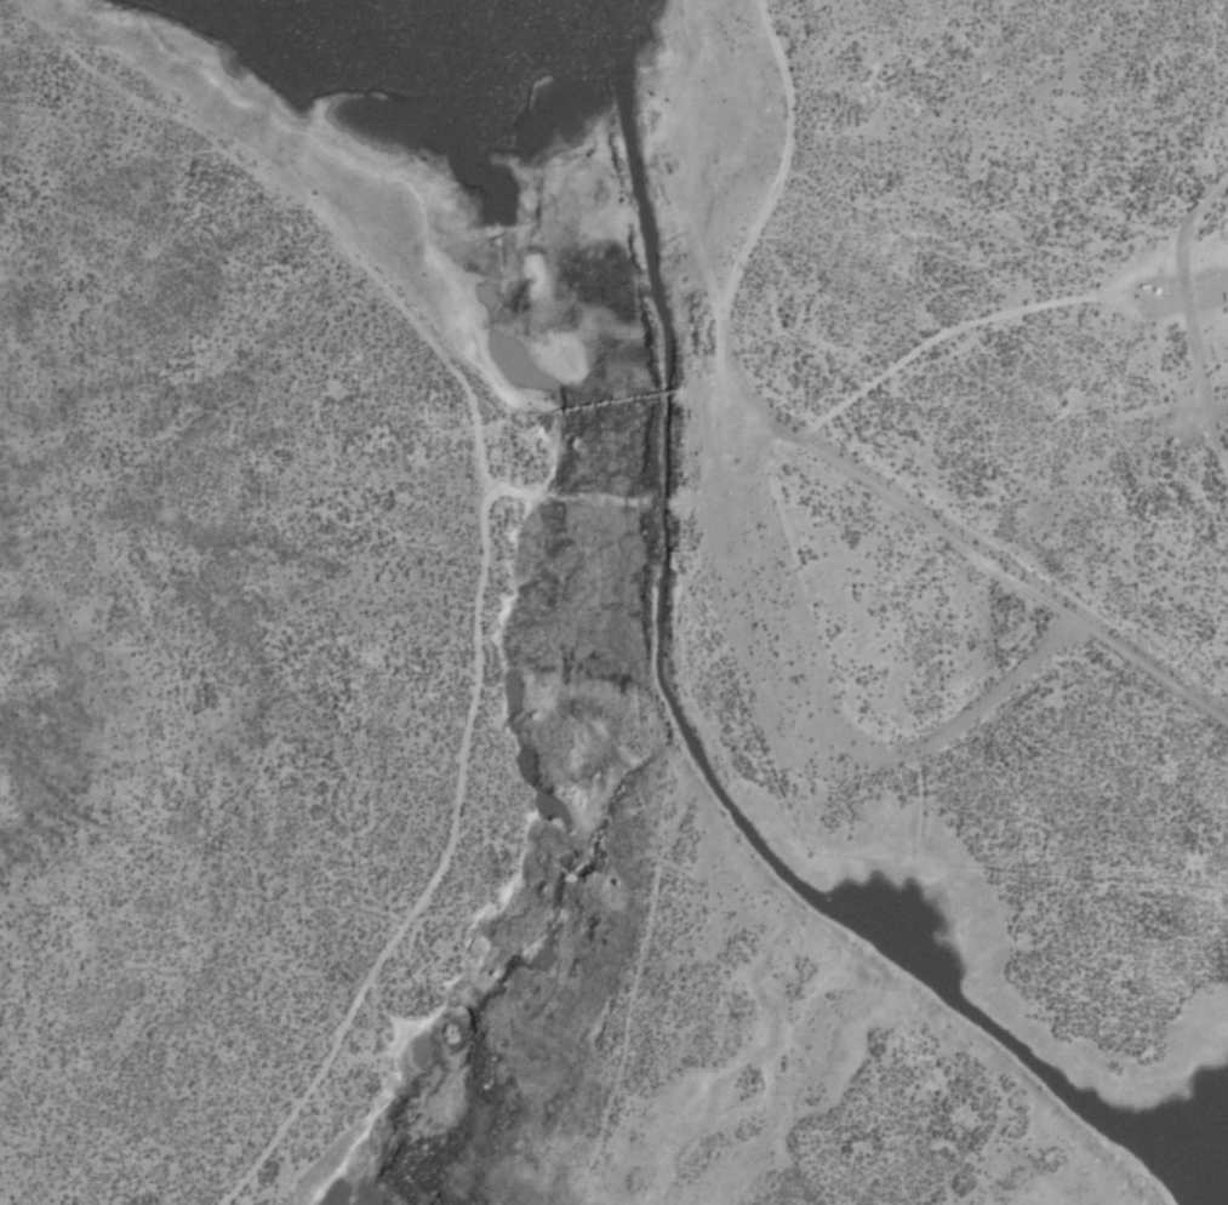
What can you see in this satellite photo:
road: (681, 212)
road: (318, 216)
road: (1183, 314)
road: (969, 316)
dam: (604, 400)
road: (478, 499)
road: (994, 571)
road: (211, 1201)

